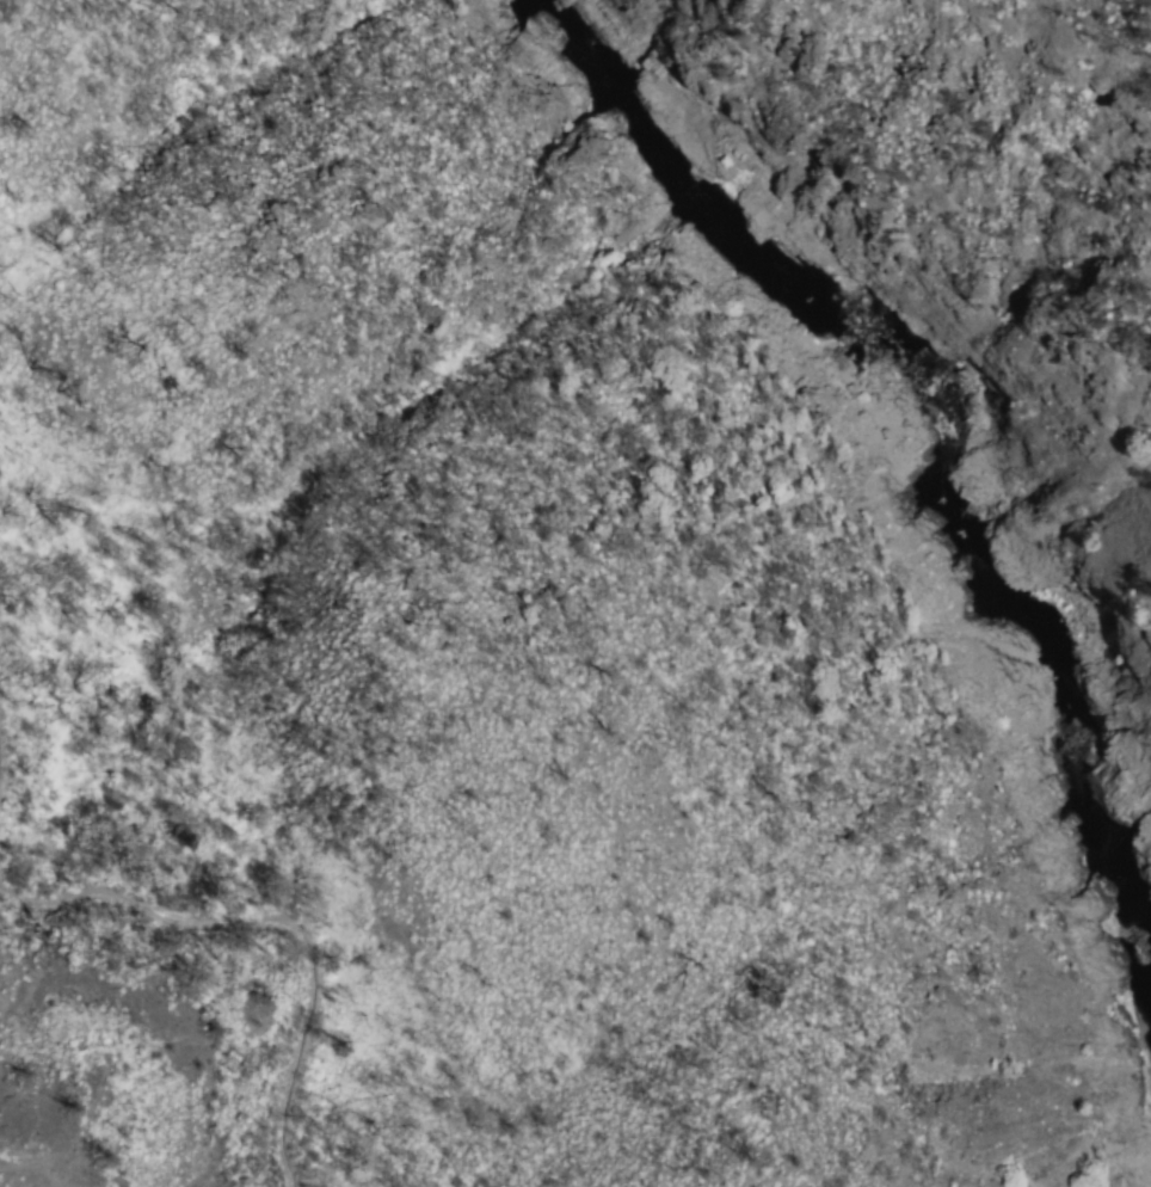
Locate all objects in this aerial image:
river: (913, 449)

